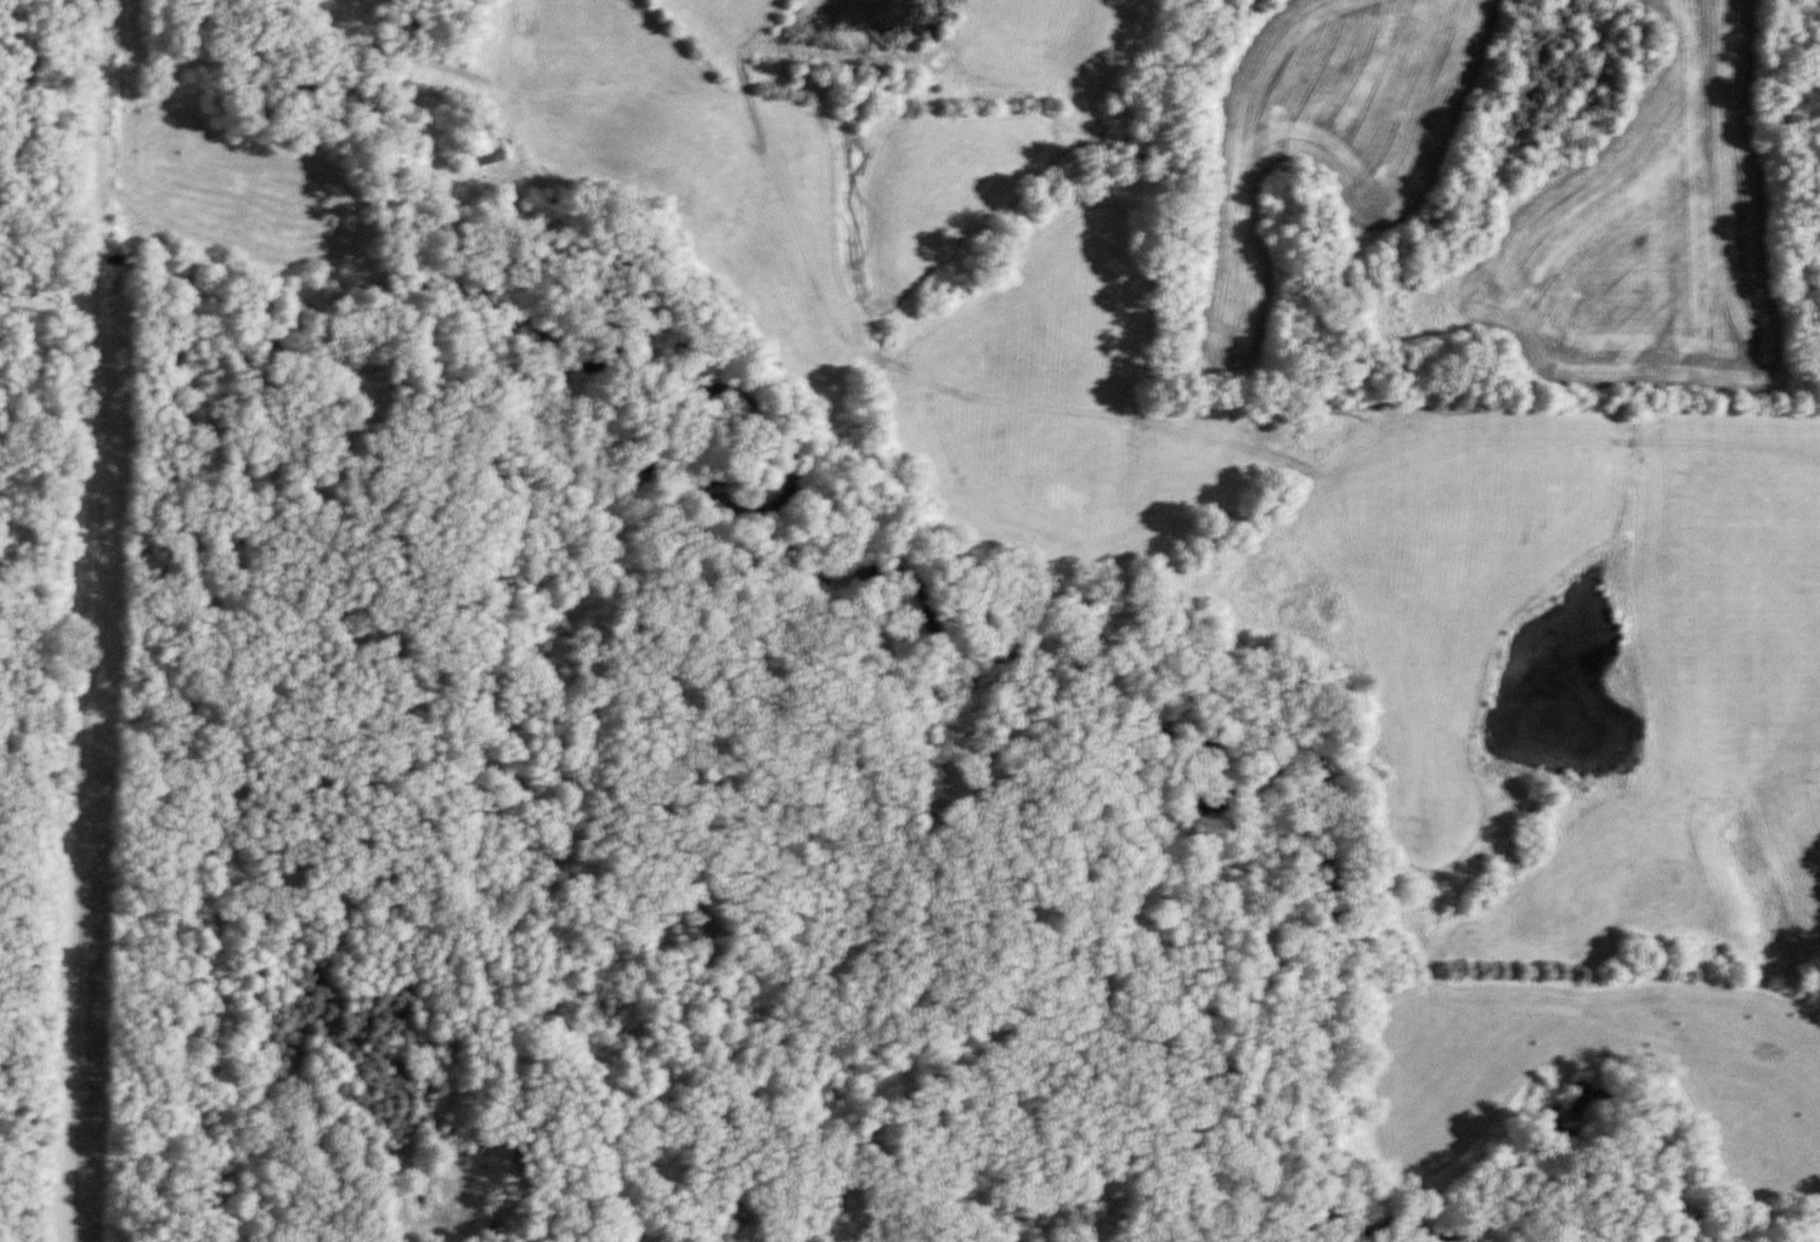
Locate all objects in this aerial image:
road: (44, 297)
road: (77, 620)

